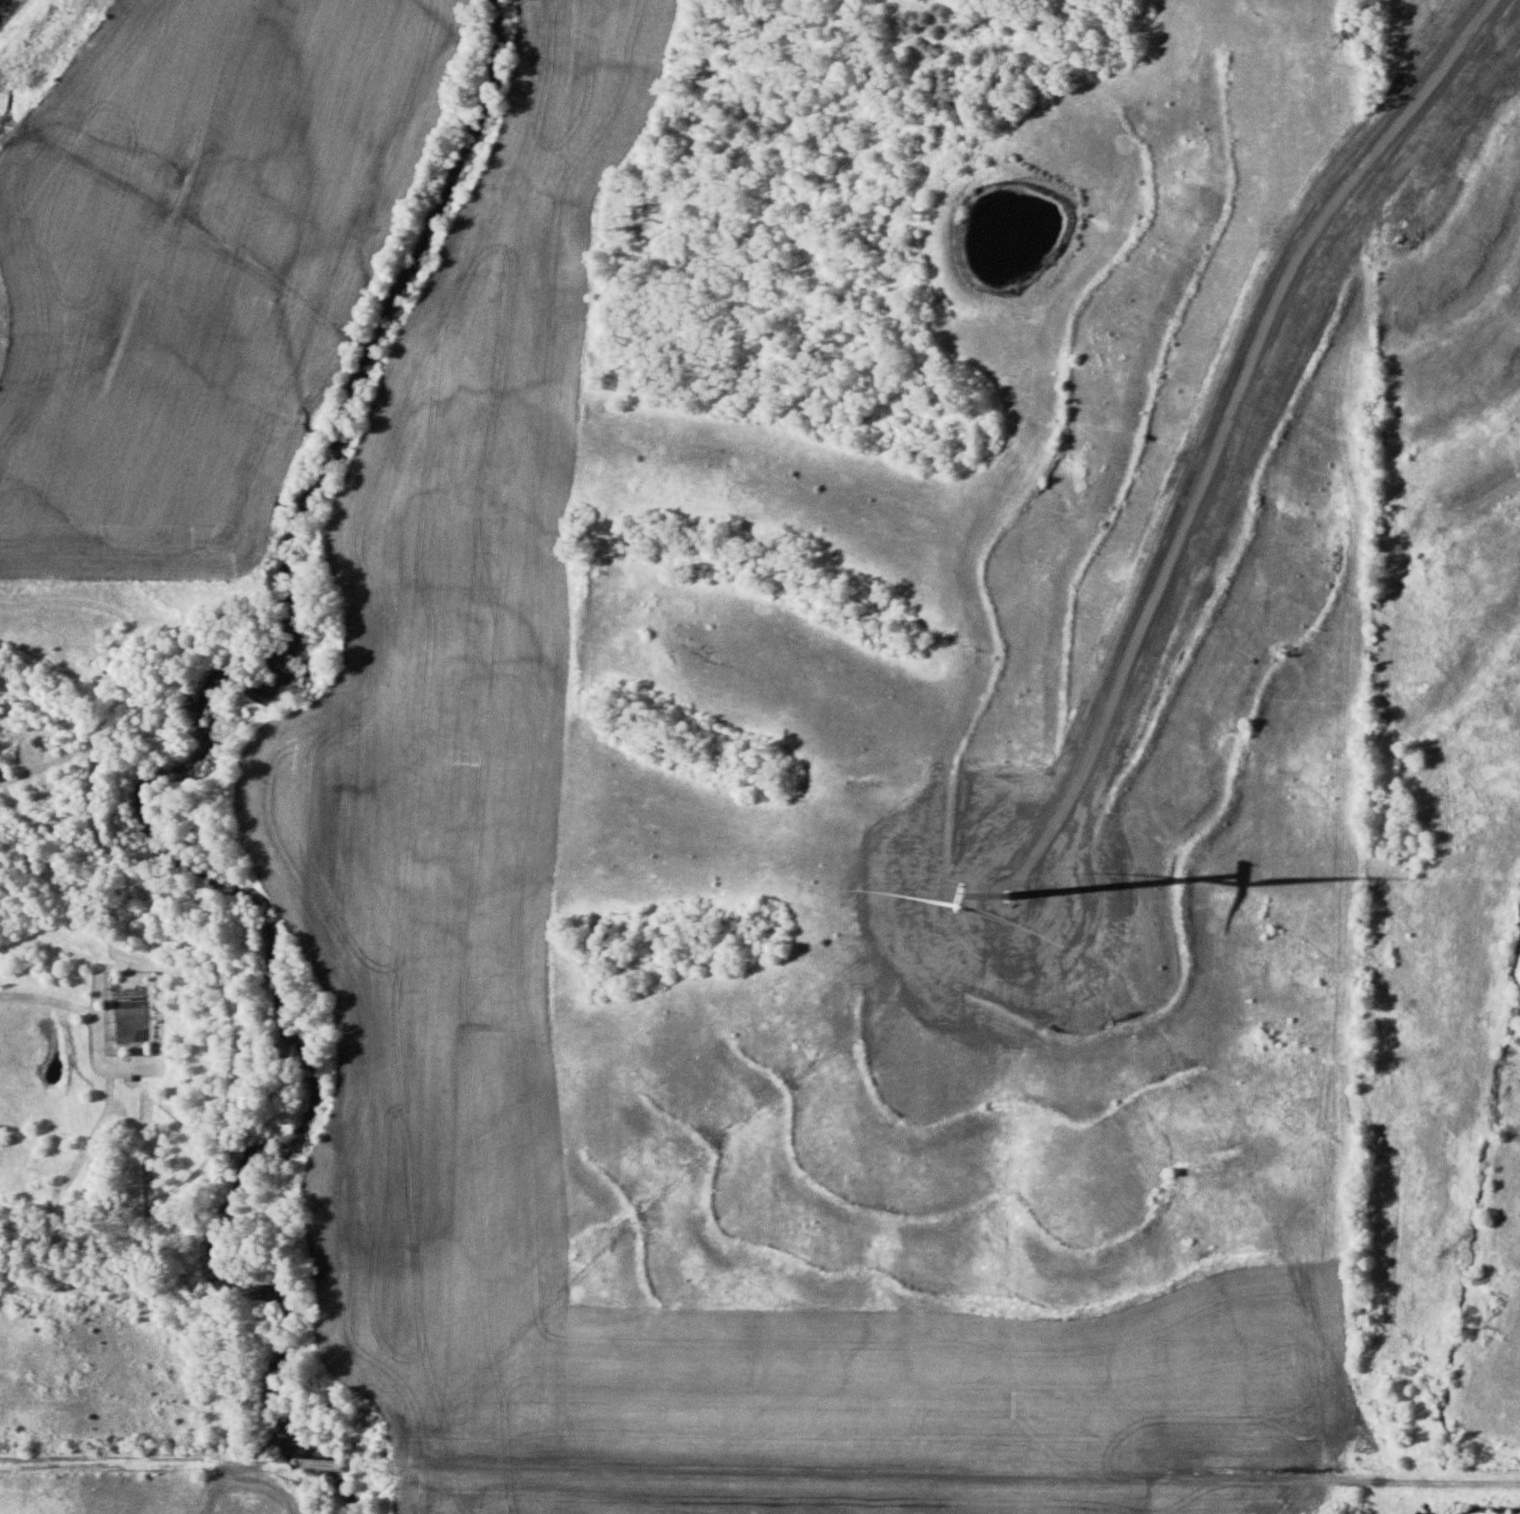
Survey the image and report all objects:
wind turbine: (1012, 907)
road: (145, 1461)
road: (328, 1465)
road: (942, 1471)

